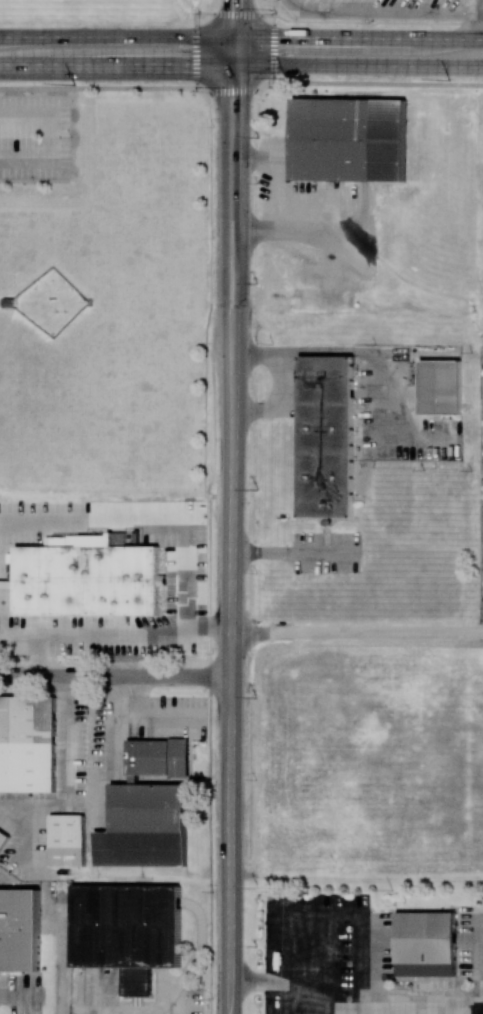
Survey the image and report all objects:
road: (230, 13)
road: (382, 14)
road: (234, 18)
road: (479, 19)
road: (376, 22)
road: (116, 37)
traffic signals: (234, 37)
road: (358, 37)
road: (229, 51)
road: (239, 51)
road: (112, 65)
traffic signals: (225, 65)
road: (234, 65)
traffic signals: (244, 65)
road: (363, 65)
power tower: (283, 76)
road: (336, 82)
power tower: (74, 83)
road: (98, 87)
building: (346, 139)
road: (52, 141)
road: (278, 192)
road: (224, 238)
road: (243, 238)
building: (441, 387)
building: (325, 436)
road: (86, 516)
road: (209, 551)
building: (86, 577)
road: (214, 633)
road: (358, 633)
road: (43, 664)
road: (116, 676)
road: (232, 713)
building: (28, 744)
building: (150, 756)
road: (65, 774)
building: (3, 839)
building: (68, 840)
building: (19, 929)
building: (126, 930)
building: (427, 938)
road: (287, 985)
road: (410, 1010)

